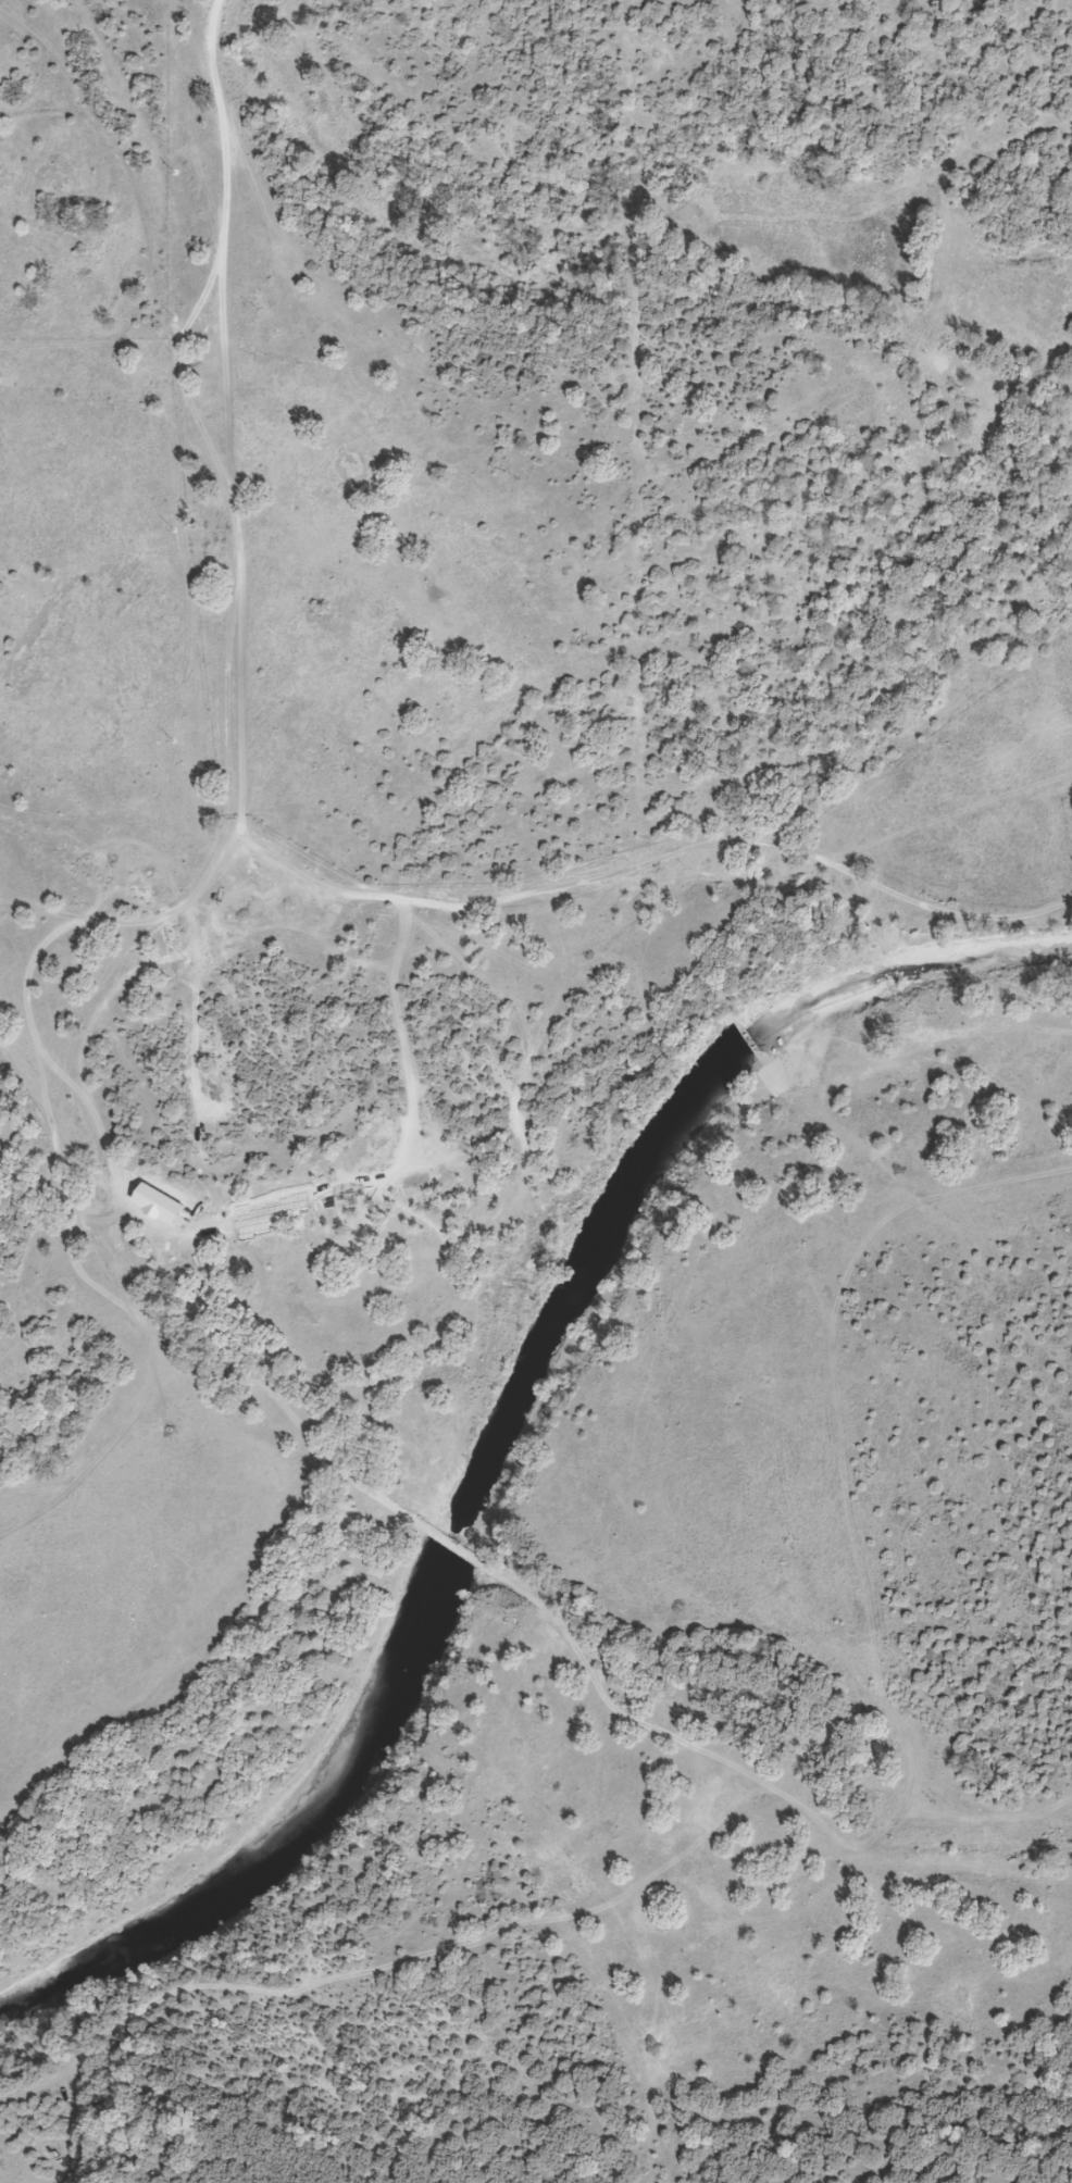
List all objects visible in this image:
road: (150, 437)
road: (535, 882)
road: (133, 1352)

